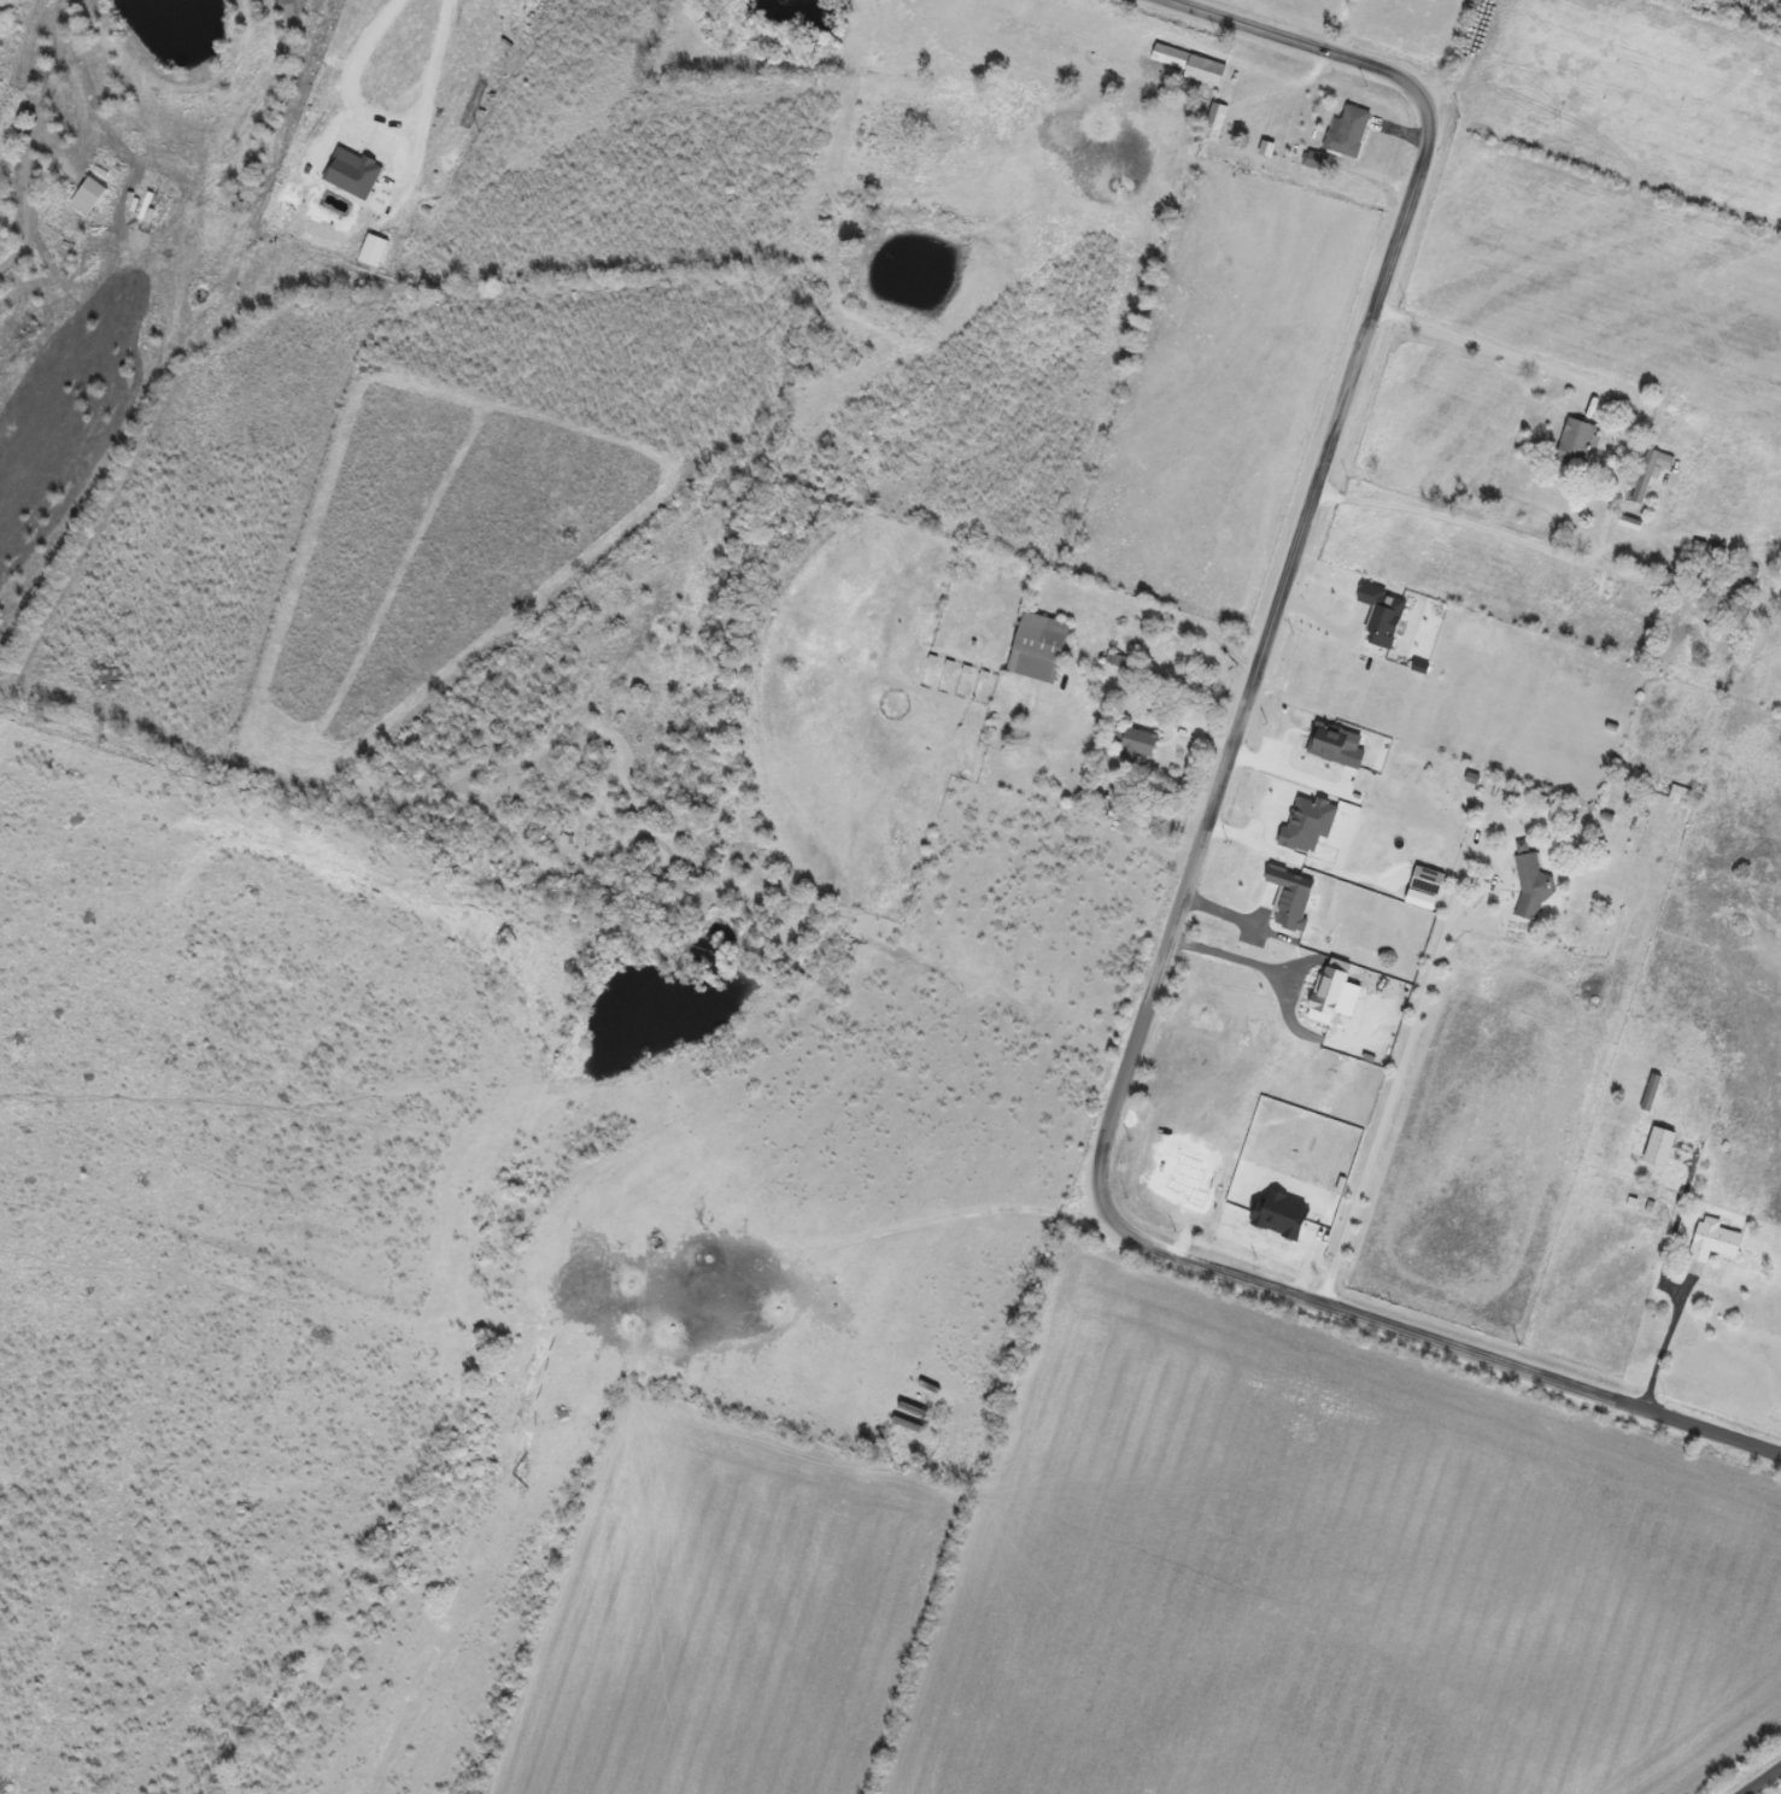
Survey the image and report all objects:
building: (1191, 65)
road: (352, 82)
road: (429, 99)
building: (1218, 123)
building: (1349, 133)
building: (1320, 163)
road: (1494, 352)
building: (1580, 444)
building: (1652, 474)
road: (1496, 535)
building: (1745, 573)
road: (1167, 612)
building: (1042, 649)
building: (1138, 744)
building: (1676, 793)
road: (1196, 860)
building: (1534, 887)
road: (1225, 956)
road: (1412, 1026)
building: (1653, 1094)
building: (1659, 1147)
road: (1688, 1173)
building: (1715, 1241)
road: (1674, 1301)

